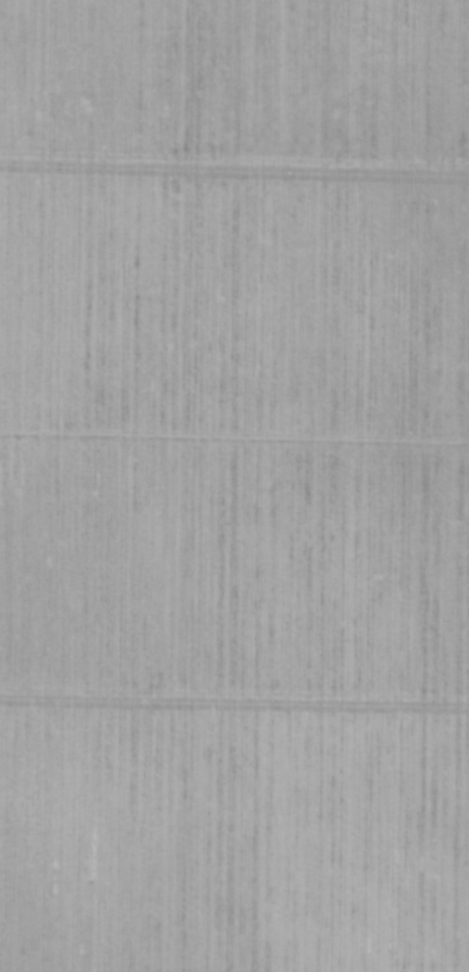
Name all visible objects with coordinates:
crop: (234, 486)

